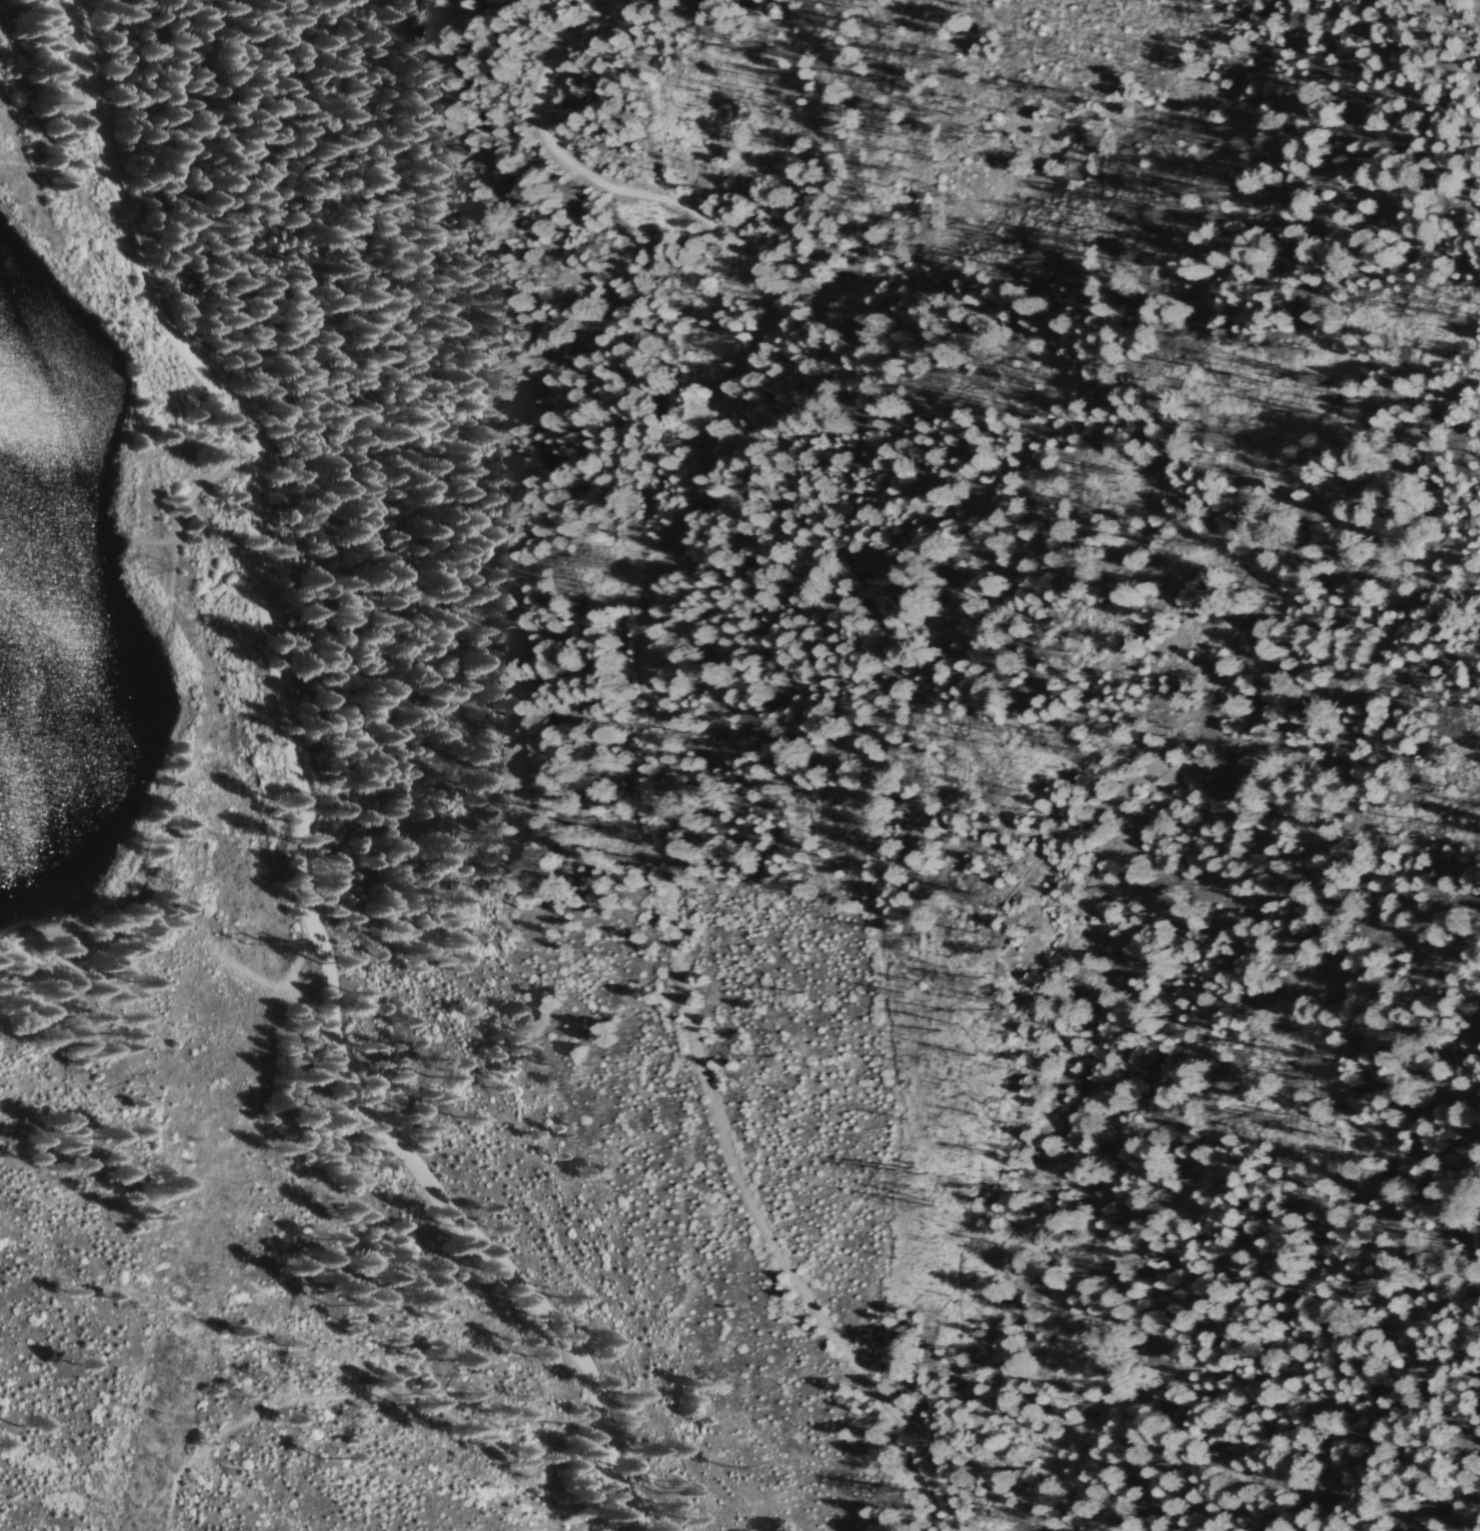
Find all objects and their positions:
power tower: (139, 567)
road: (643, 706)
road: (296, 795)
power tower: (262, 946)
power tower: (157, 1419)

